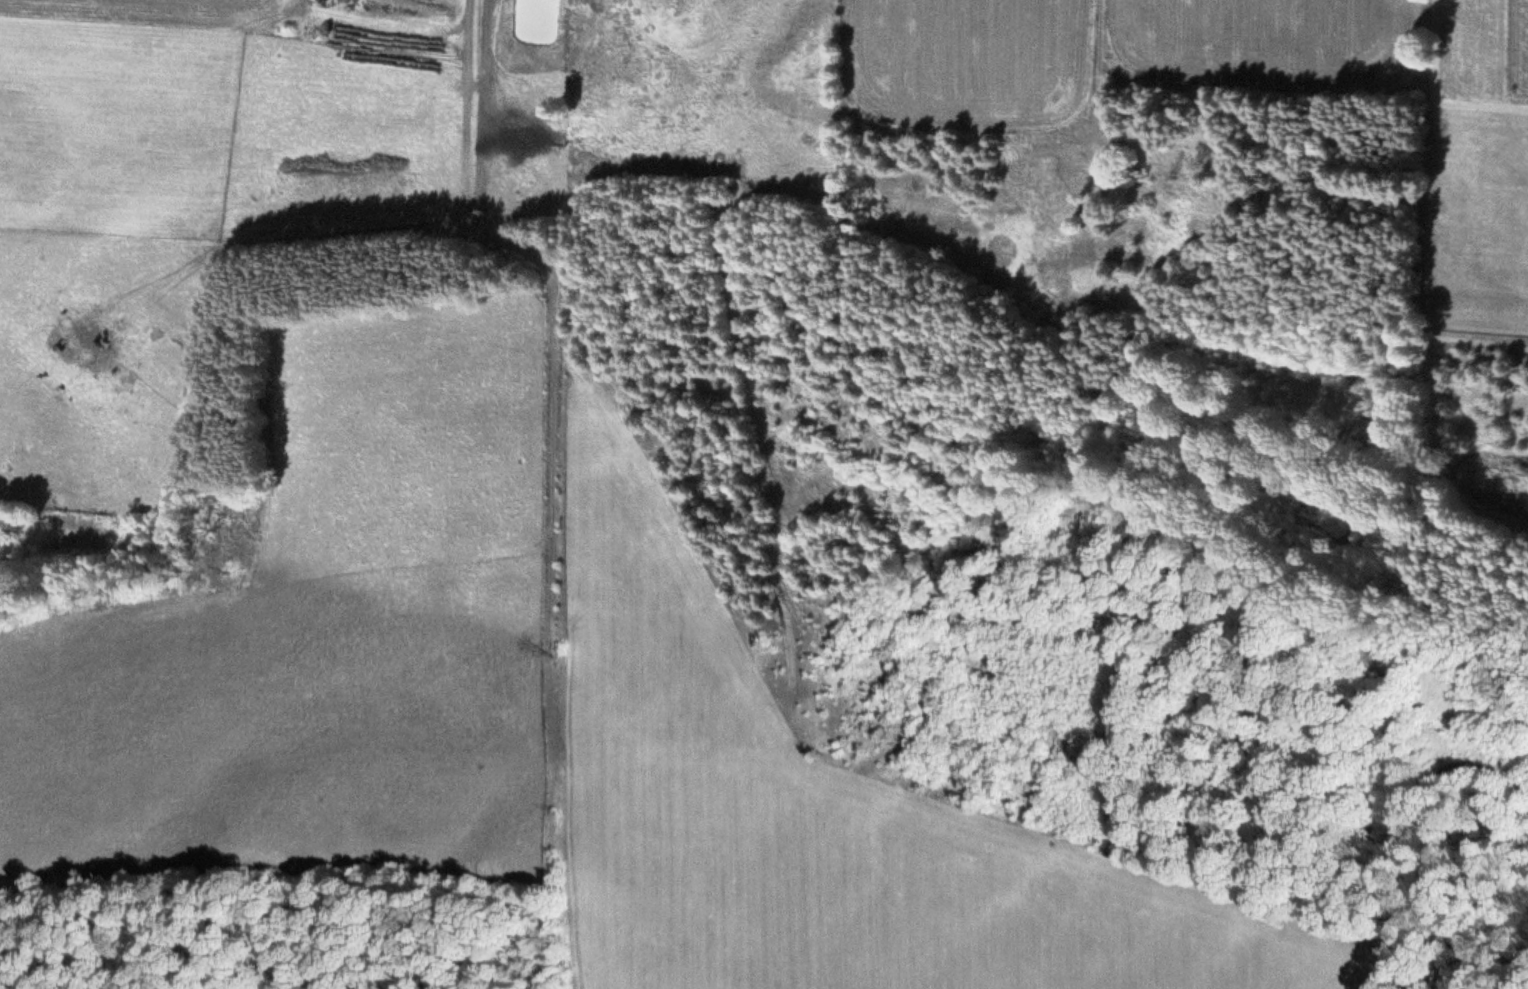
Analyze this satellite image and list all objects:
road: (1097, 88)
building: (1045, 162)

